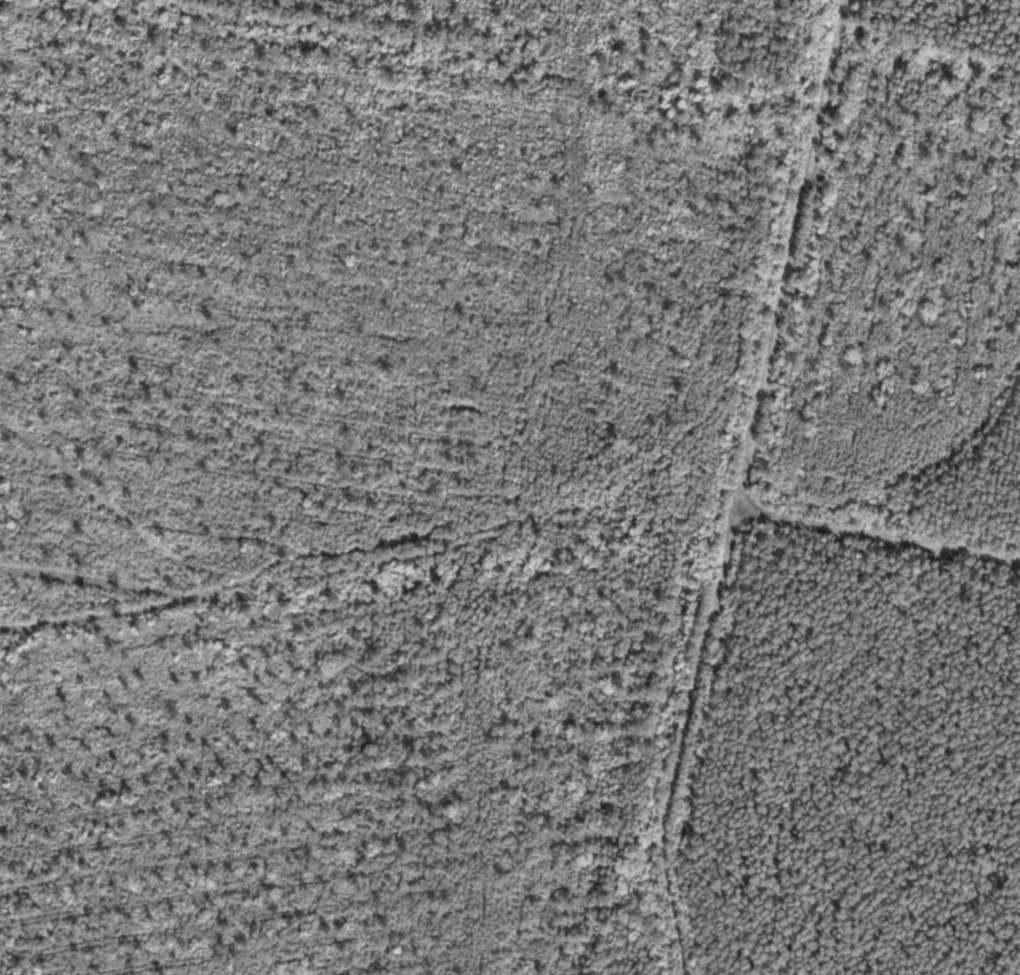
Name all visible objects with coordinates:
road: (747, 428)

